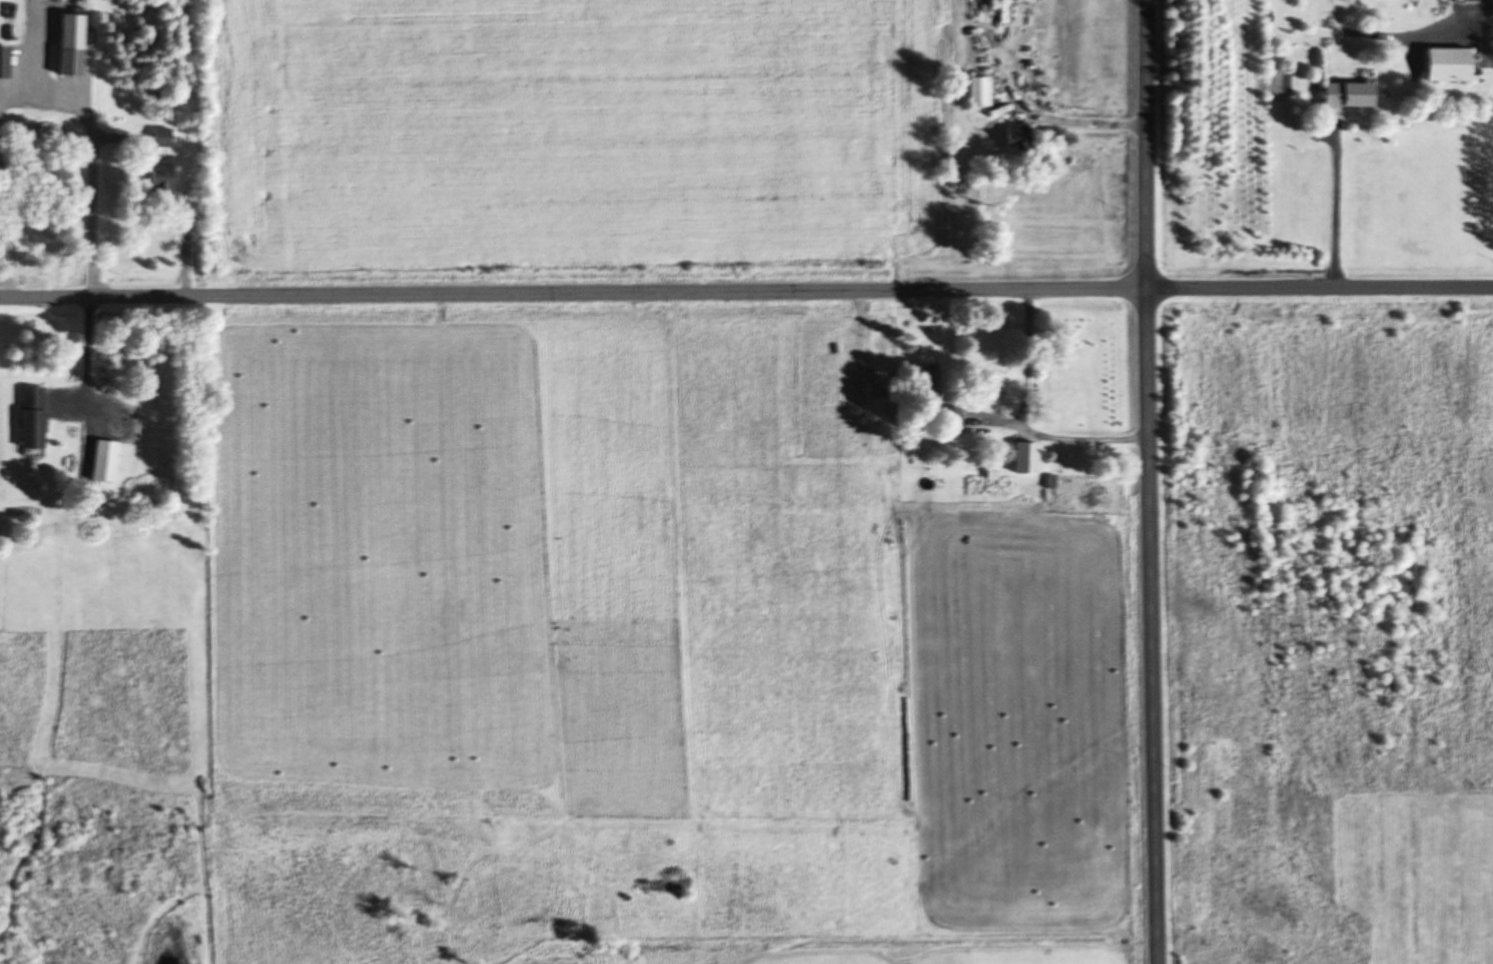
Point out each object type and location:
building: (1463, 0)
building: (1, 61)
building: (66, 61)
building: (1439, 64)
building: (973, 91)
building: (1340, 94)
building: (158, 137)
building: (1012, 140)
building: (151, 176)
road: (746, 289)
building: (922, 377)
building: (26, 416)
building: (947, 419)
building: (98, 460)
road: (1147, 482)

